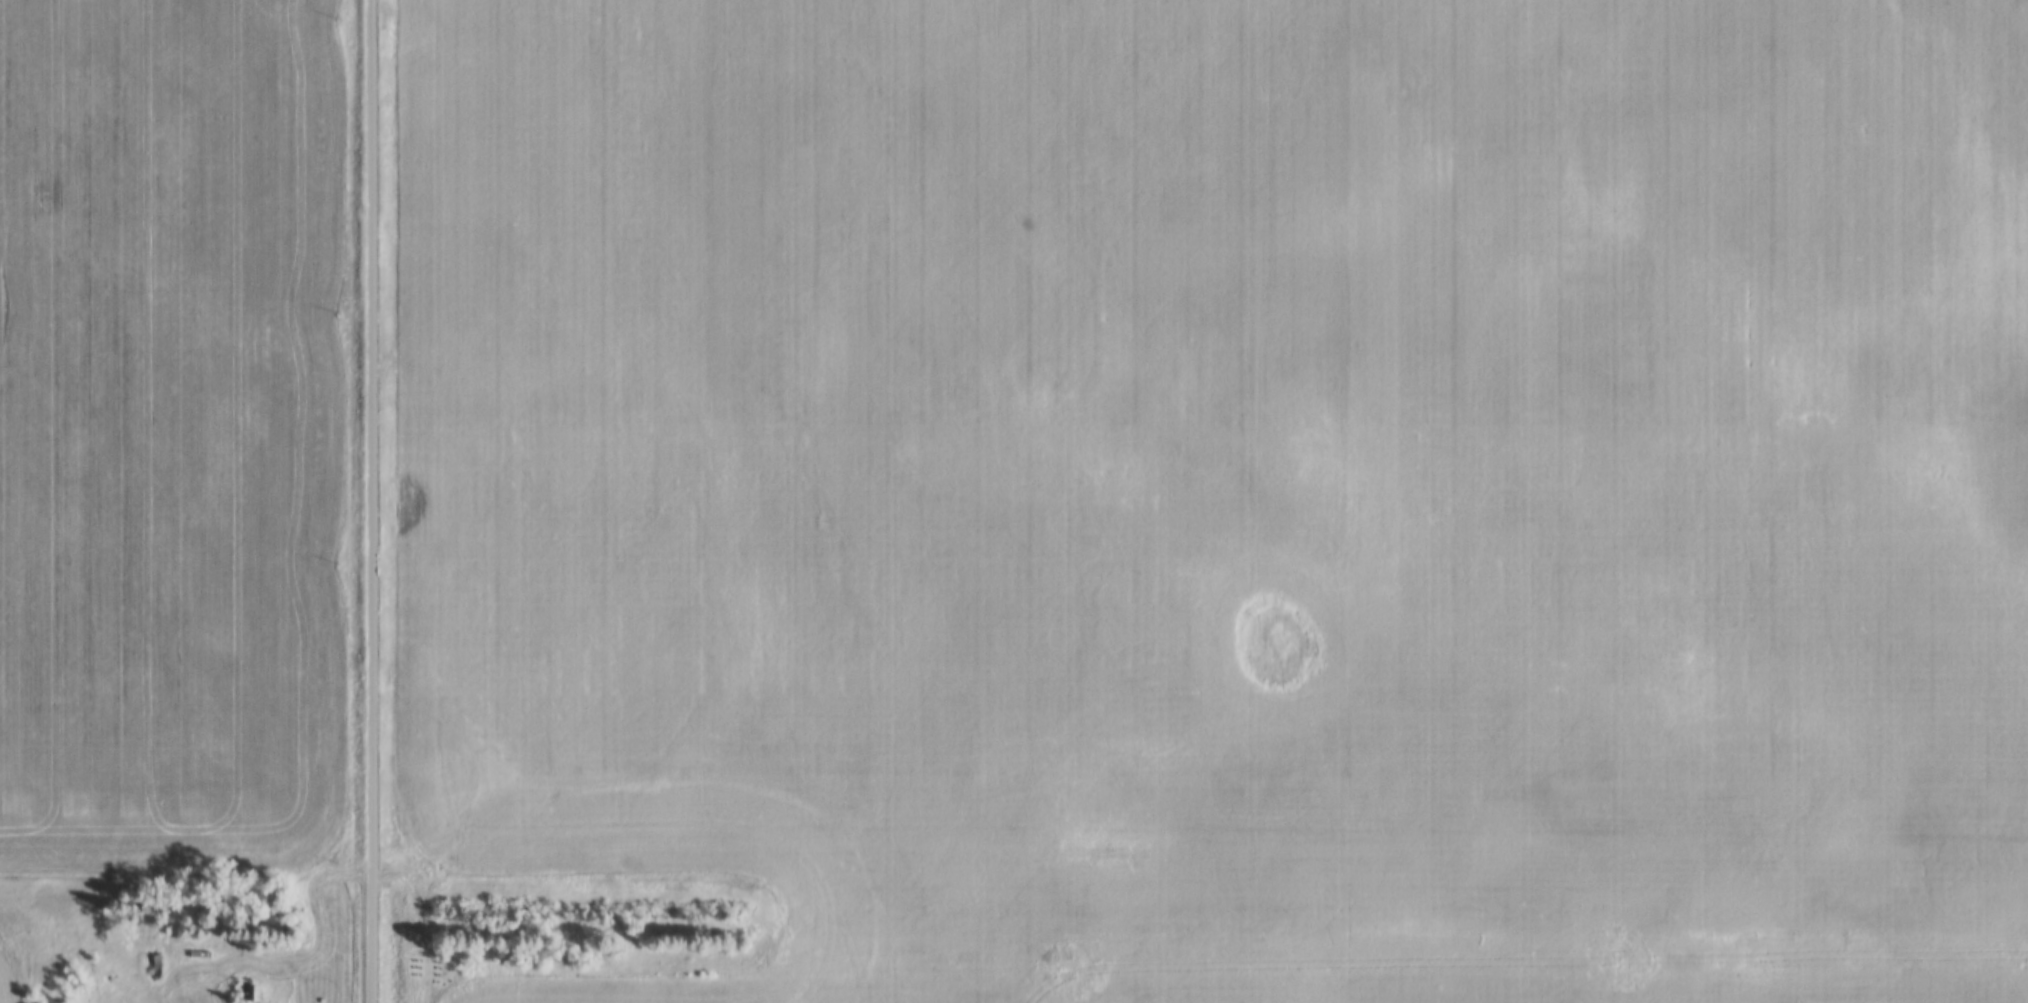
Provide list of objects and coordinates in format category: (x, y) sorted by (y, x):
road: (371, 501)
building: (154, 965)
road: (20, 971)

